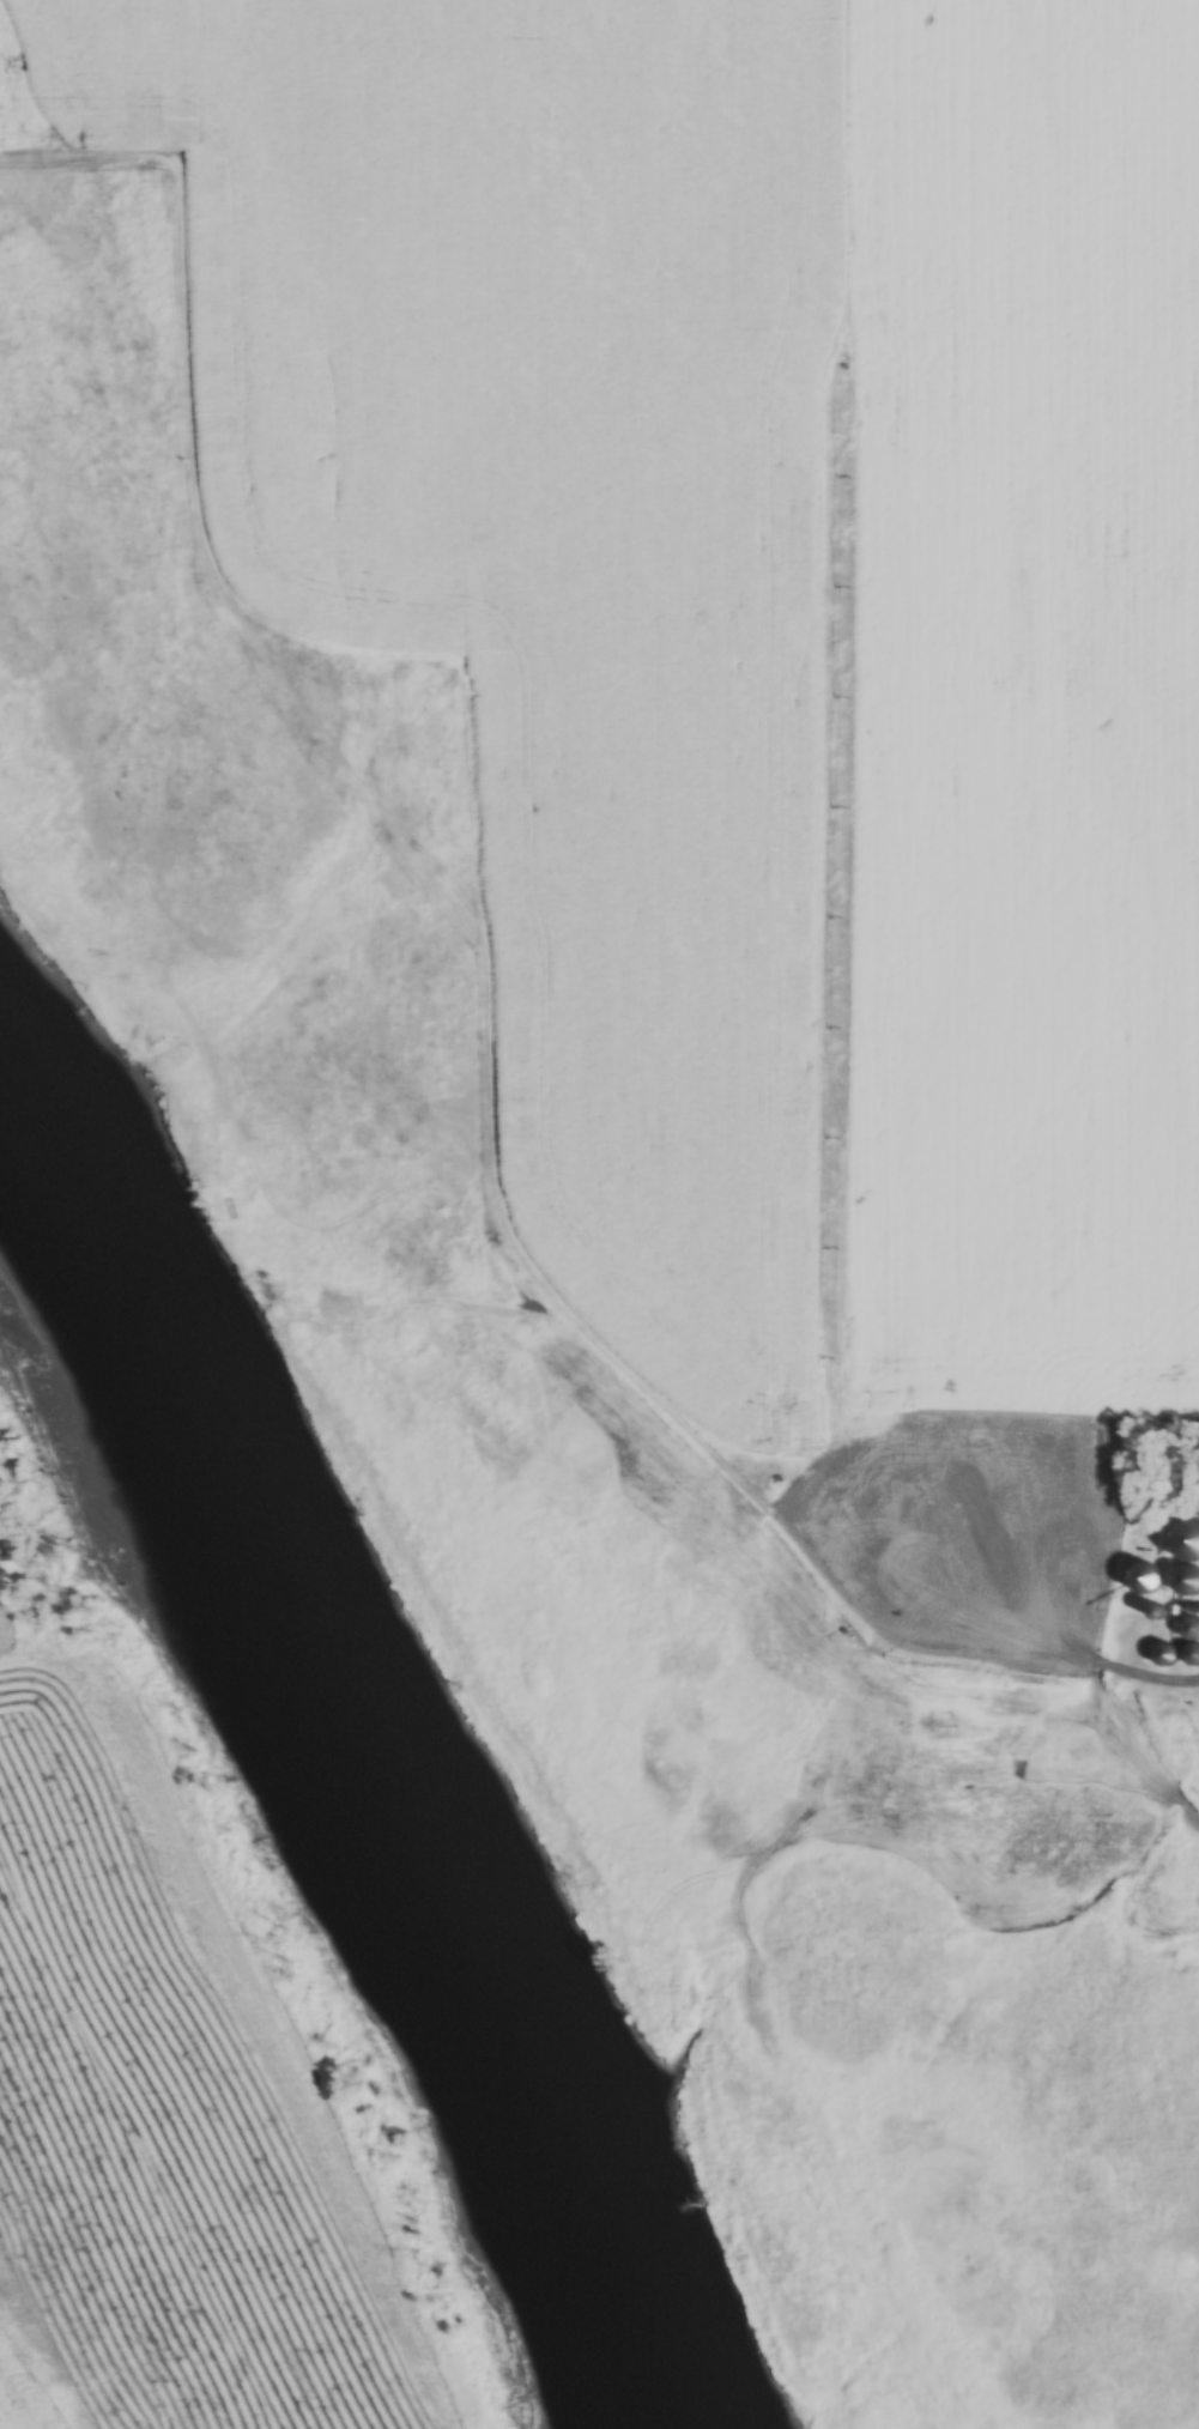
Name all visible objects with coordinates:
building: (1191, 1580)
building: (1193, 1627)
building: (1167, 1655)
building: (1193, 1655)
river: (344, 1782)

